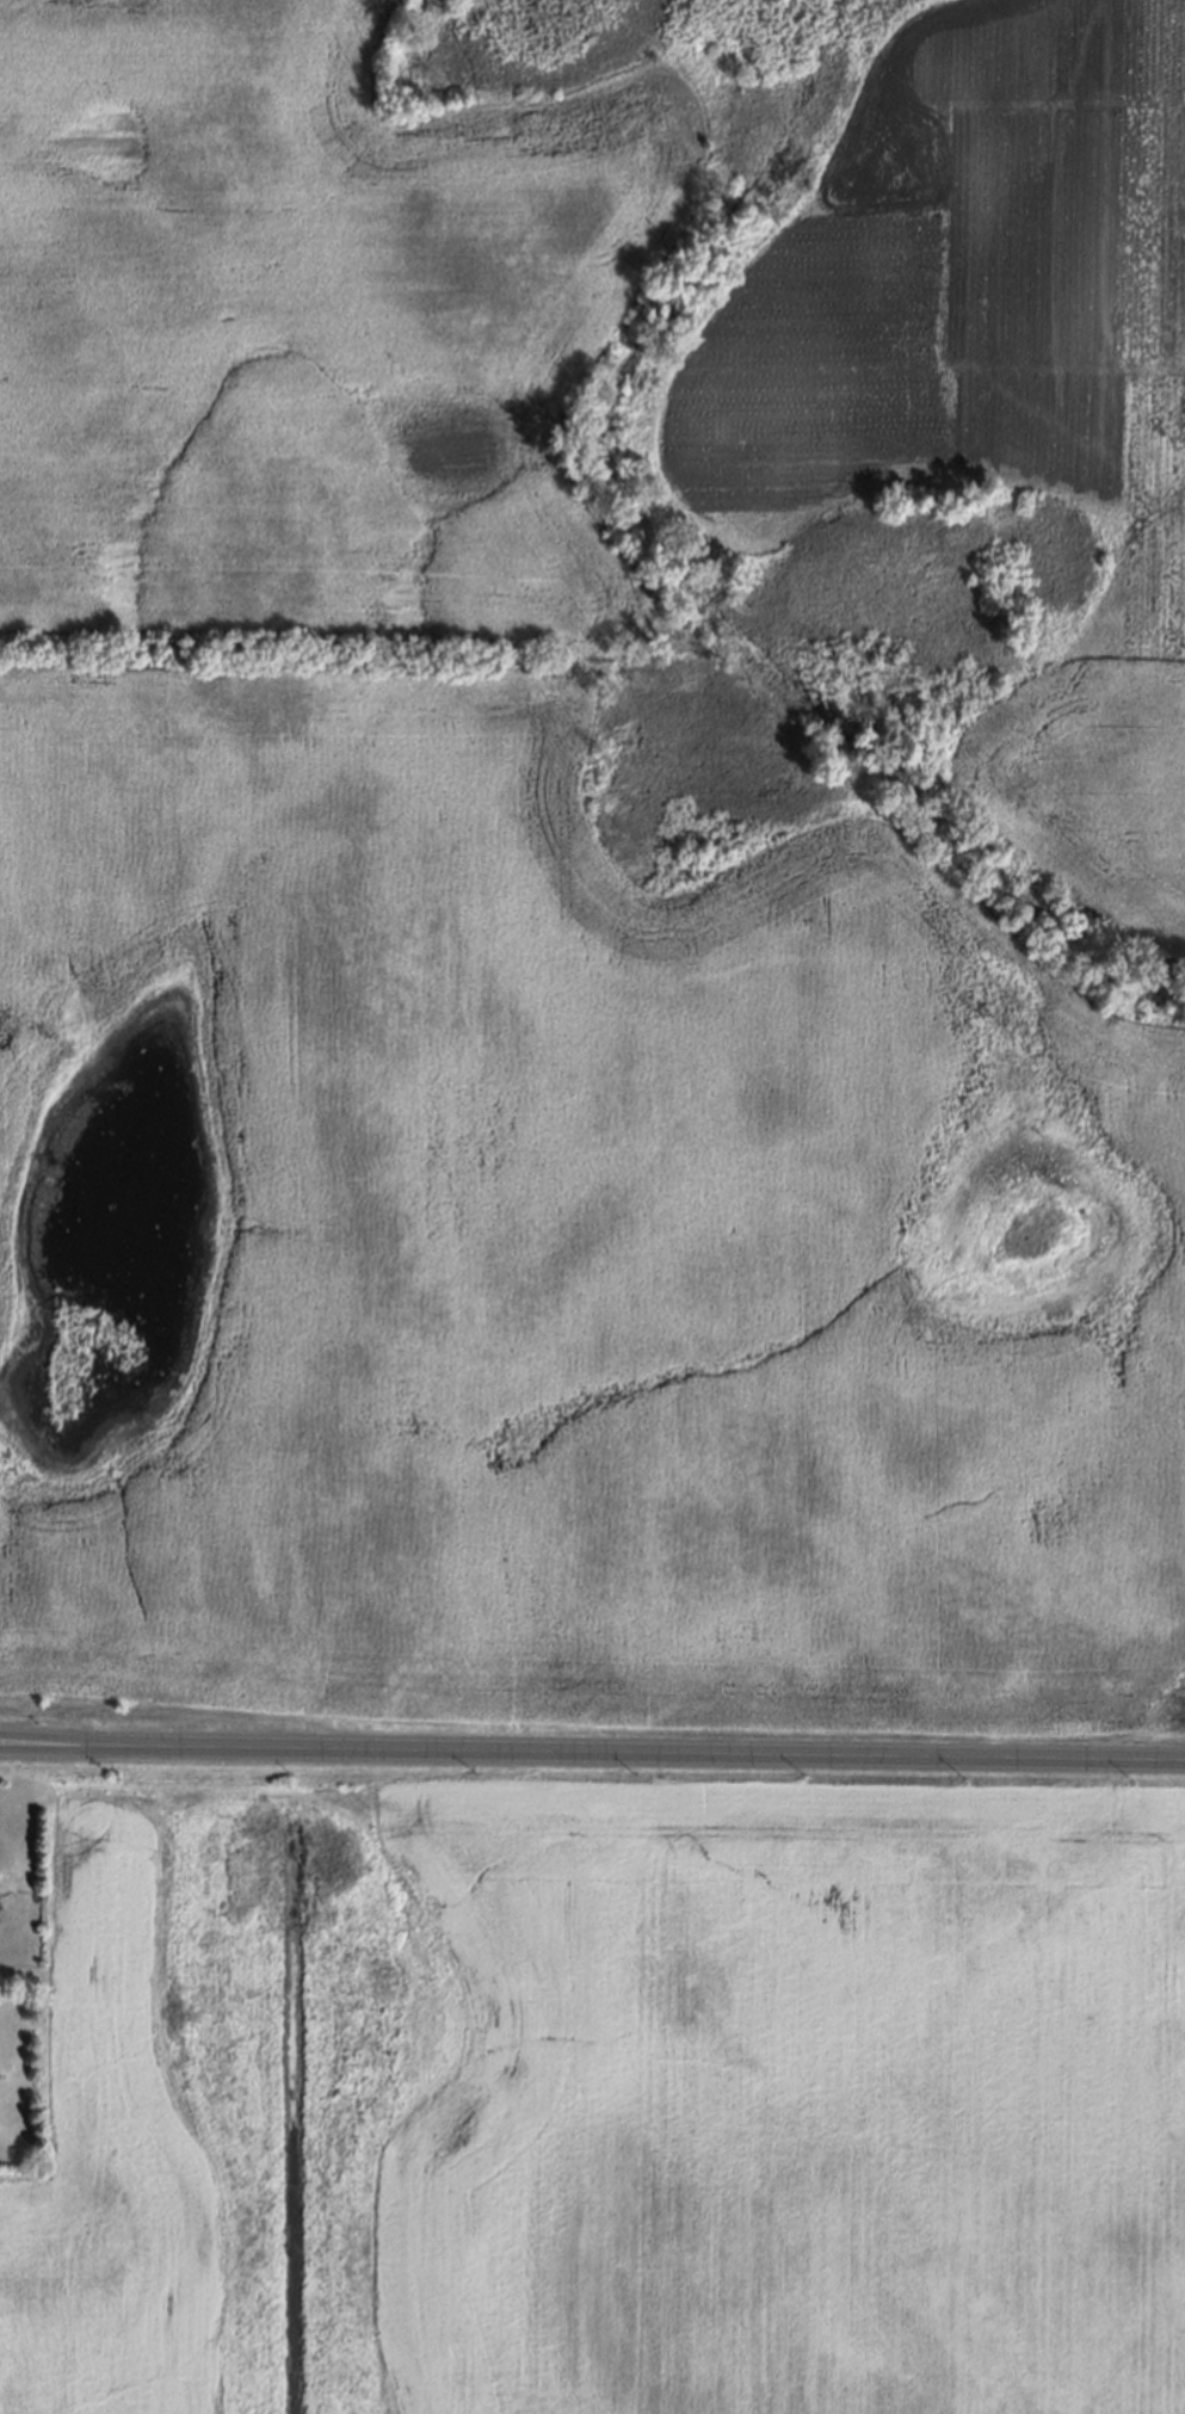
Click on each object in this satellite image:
road: (592, 1751)

